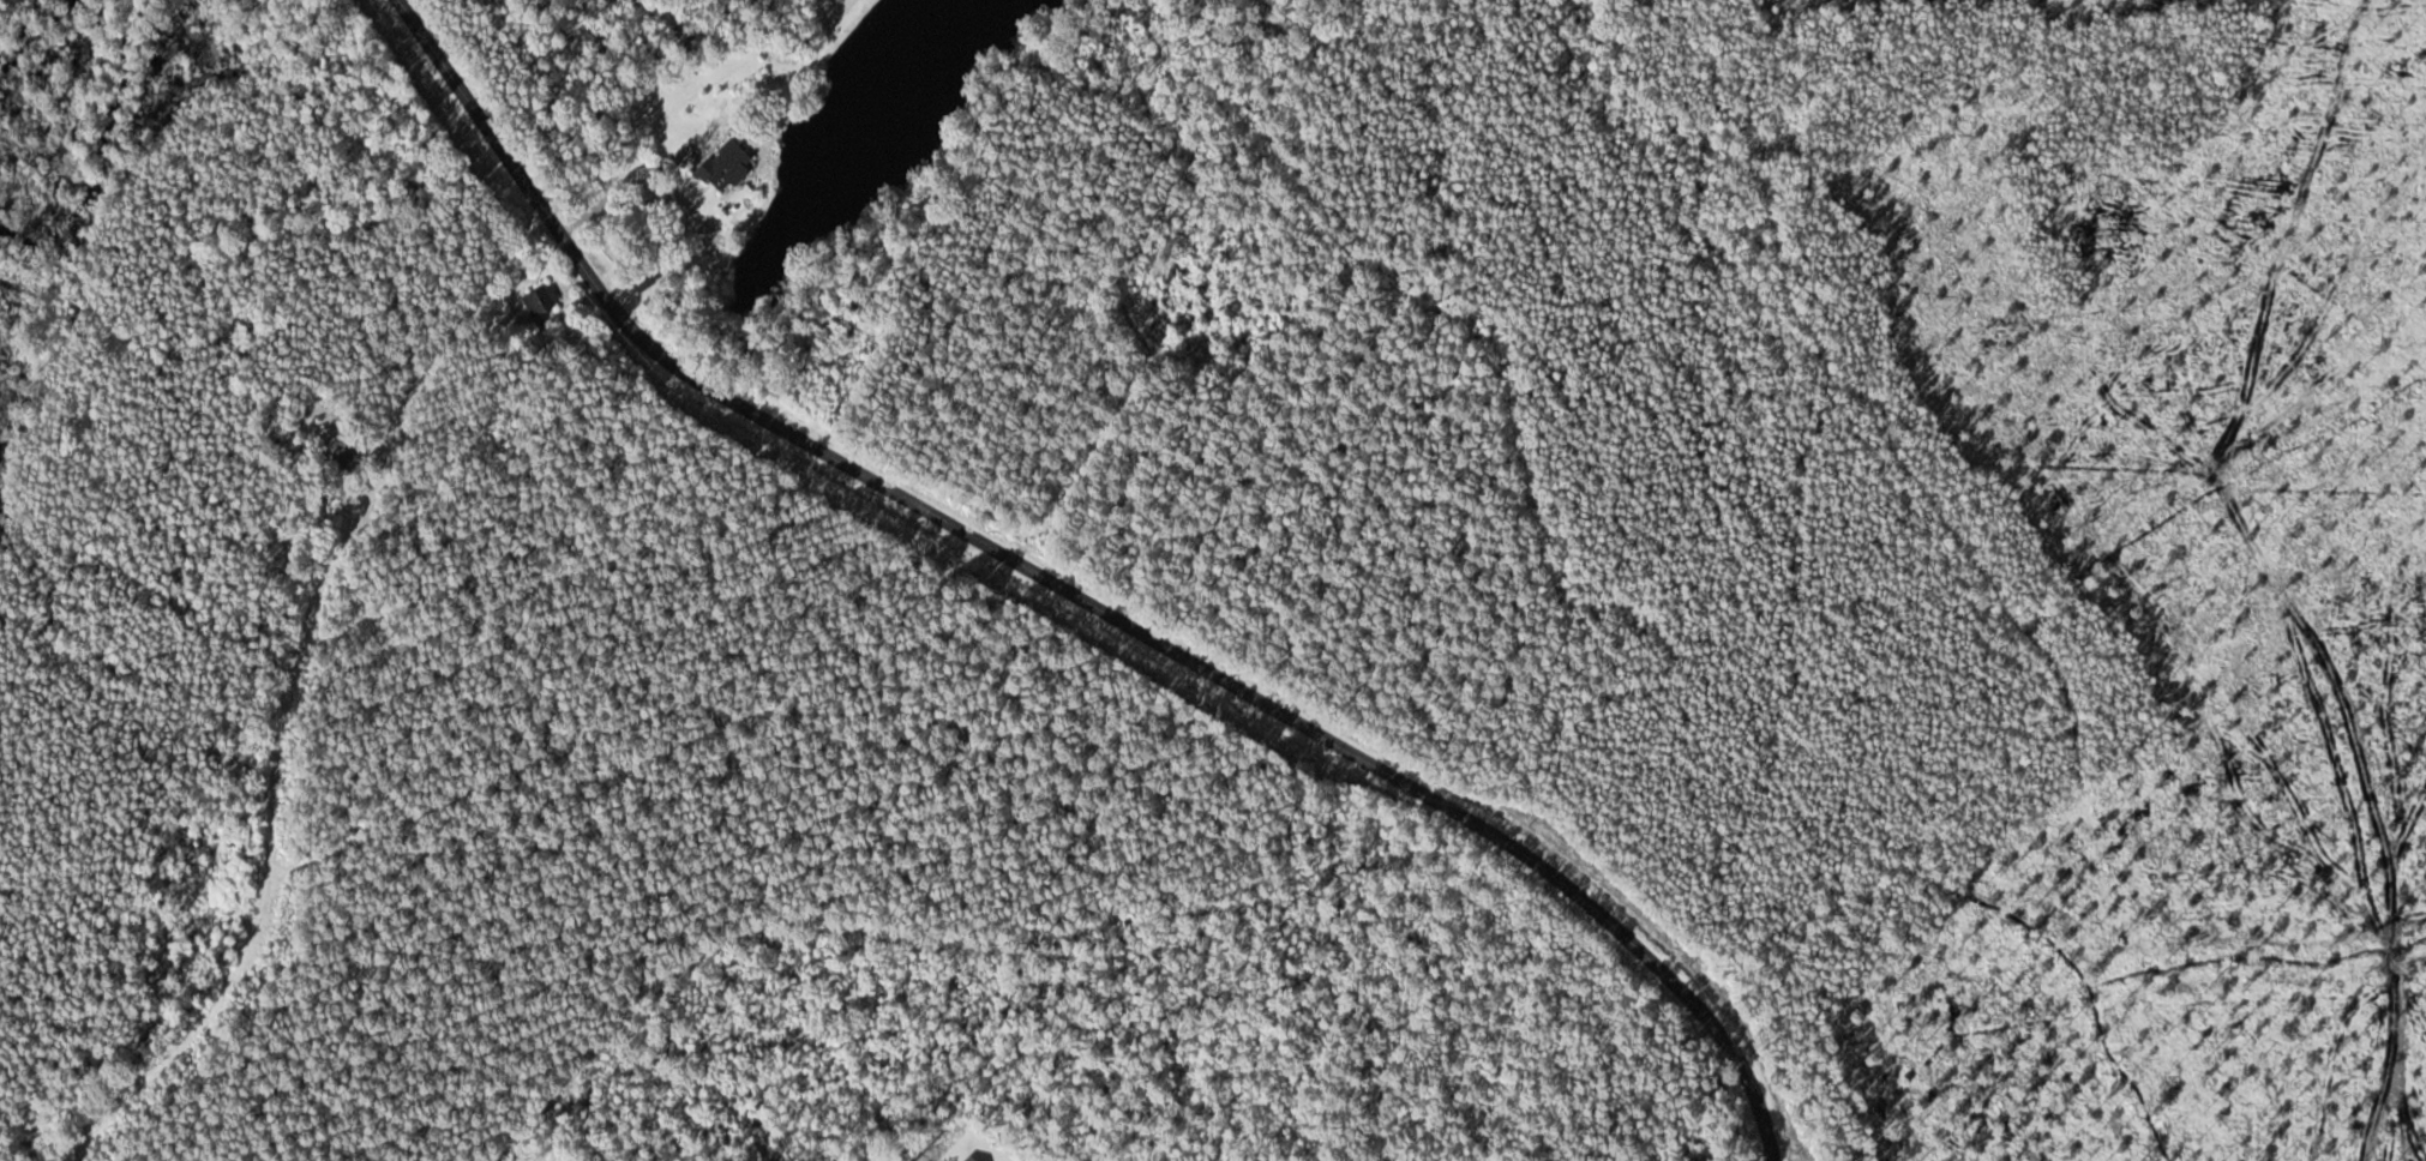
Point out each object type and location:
building: (719, 163)
building: (538, 299)
building: (342, 457)
road: (1070, 600)

